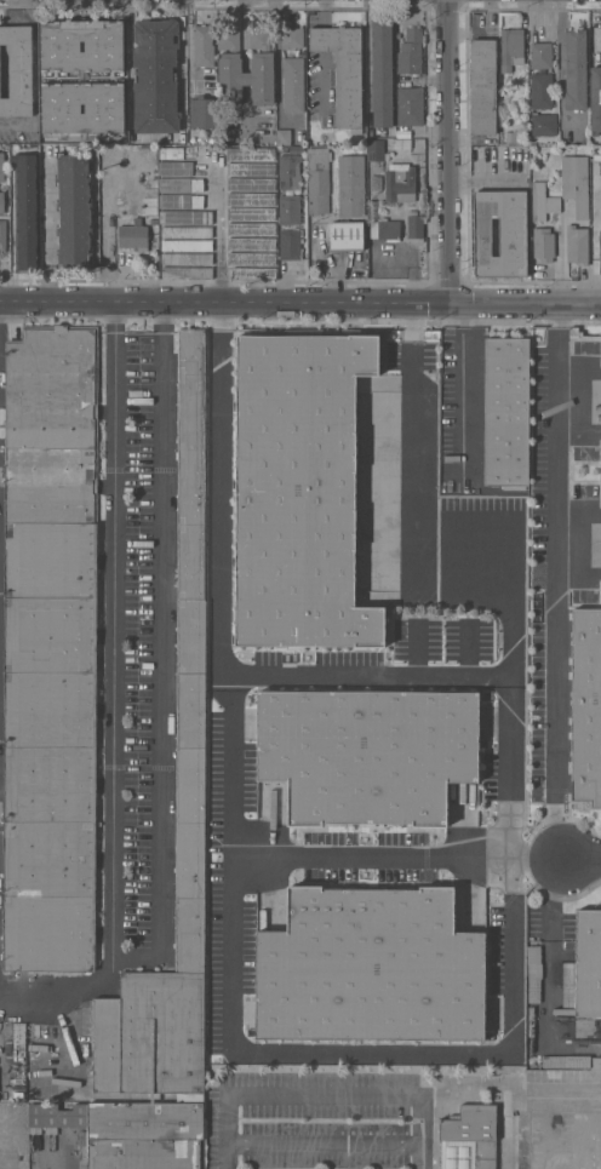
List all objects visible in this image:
road: (320, 13)
building: (292, 38)
road: (320, 39)
building: (202, 46)
building: (511, 46)
building: (410, 51)
building: (540, 55)
building: (229, 65)
road: (561, 68)
building: (574, 69)
building: (17, 70)
building: (343, 70)
road: (182, 73)
building: (155, 75)
building: (382, 75)
building: (81, 78)
road: (321, 78)
building: (293, 85)
building: (483, 85)
road: (127, 88)
building: (540, 91)
building: (595, 99)
building: (410, 105)
building: (201, 111)
road: (13, 121)
building: (543, 124)
building: (513, 136)
building: (284, 137)
building: (401, 144)
building: (377, 150)
road: (451, 150)
building: (171, 153)
building: (237, 154)
building: (262, 154)
building: (1, 167)
building: (176, 168)
building: (237, 168)
building: (262, 168)
building: (288, 172)
building: (319, 179)
building: (400, 182)
building: (376, 183)
building: (576, 183)
building: (173, 184)
building: (196, 184)
building: (237, 184)
building: (262, 184)
building: (351, 185)
building: (237, 199)
building: (262, 199)
building: (174, 201)
building: (198, 201)
building: (1, 202)
building: (149, 206)
building: (288, 210)
building: (25, 211)
building: (73, 211)
building: (590, 212)
building: (596, 212)
building: (237, 213)
building: (262, 213)
building: (174, 217)
building: (200, 217)
building: (544, 217)
building: (153, 220)
road: (46, 225)
building: (414, 227)
road: (105, 228)
road: (221, 228)
building: (237, 229)
building: (262, 229)
building: (385, 229)
building: (174, 231)
building: (200, 231)
building: (500, 233)
building: (2, 234)
building: (347, 235)
building: (132, 236)
building: (262, 242)
building: (237, 243)
building: (290, 243)
building: (577, 243)
building: (174, 245)
building: (200, 245)
building: (174, 258)
building: (200, 258)
building: (237, 258)
building: (262, 258)
building: (597, 258)
building: (176, 273)
building: (201, 273)
building: (240, 273)
building: (263, 273)
road: (300, 302)
road: (0, 334)
road: (462, 363)
building: (506, 412)
building: (596, 413)
building: (299, 491)
road: (505, 556)
road: (555, 583)
building: (50, 648)
road: (162, 659)
road: (367, 678)
road: (109, 698)
building: (585, 706)
building: (367, 752)
building: (189, 786)
road: (397, 859)
road: (583, 859)
road: (231, 913)
road: (548, 952)
building: (588, 963)
building: (370, 967)
building: (533, 974)
building: (571, 1061)
building: (130, 1133)
building: (468, 1139)
building: (522, 1140)
building: (599, 1158)
road: (53, 1159)

